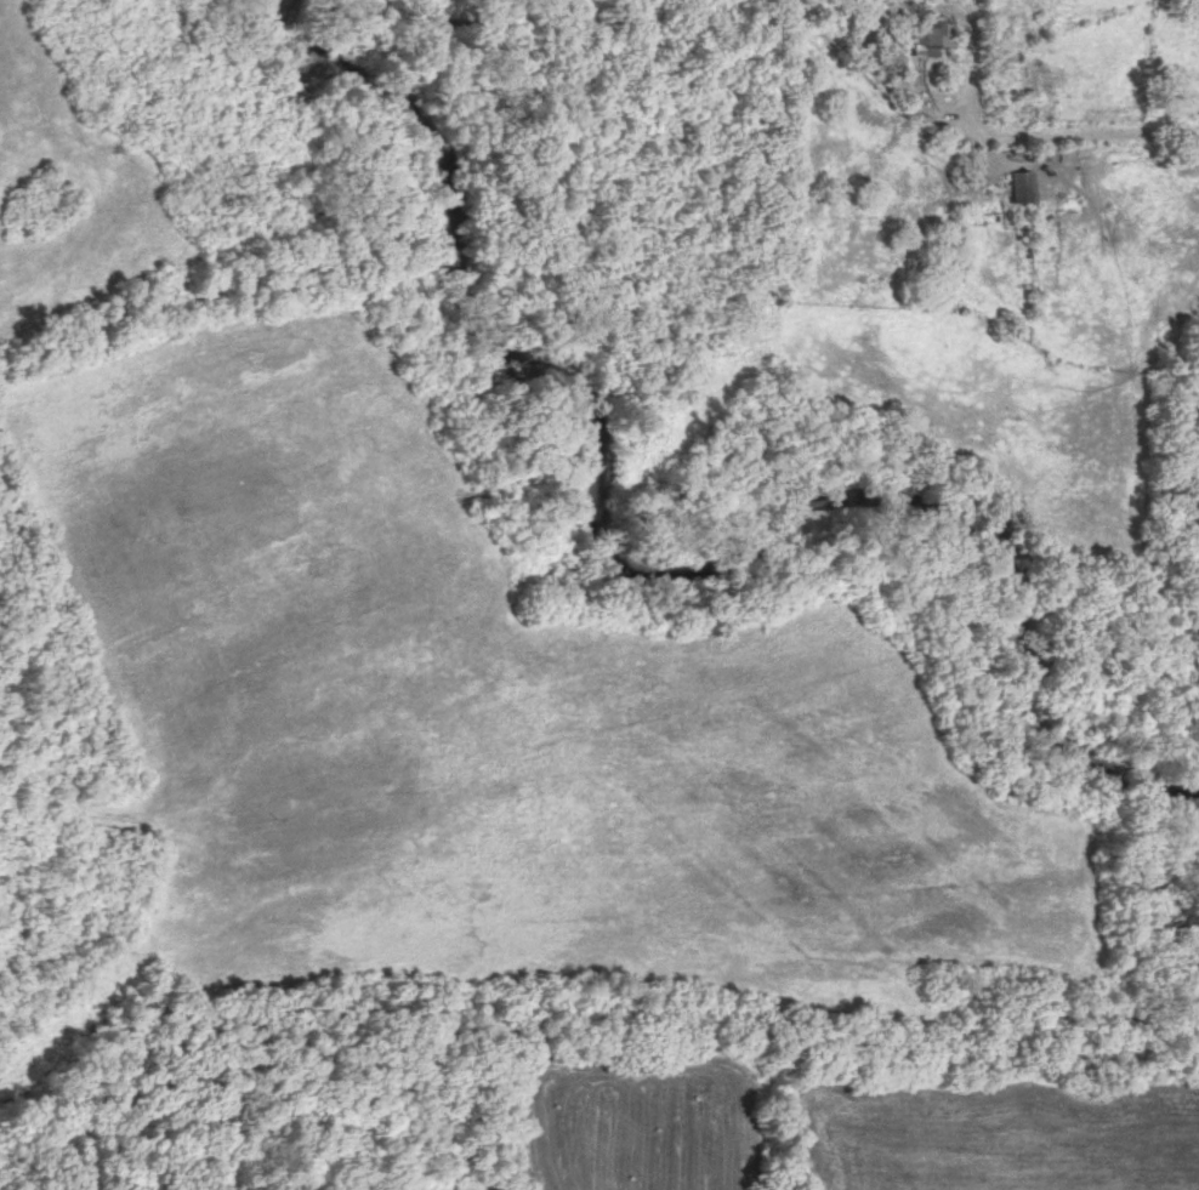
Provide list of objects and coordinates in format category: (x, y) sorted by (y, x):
building: (924, 35)
road: (966, 98)
road: (1115, 140)
building: (1028, 153)
building: (1013, 187)

